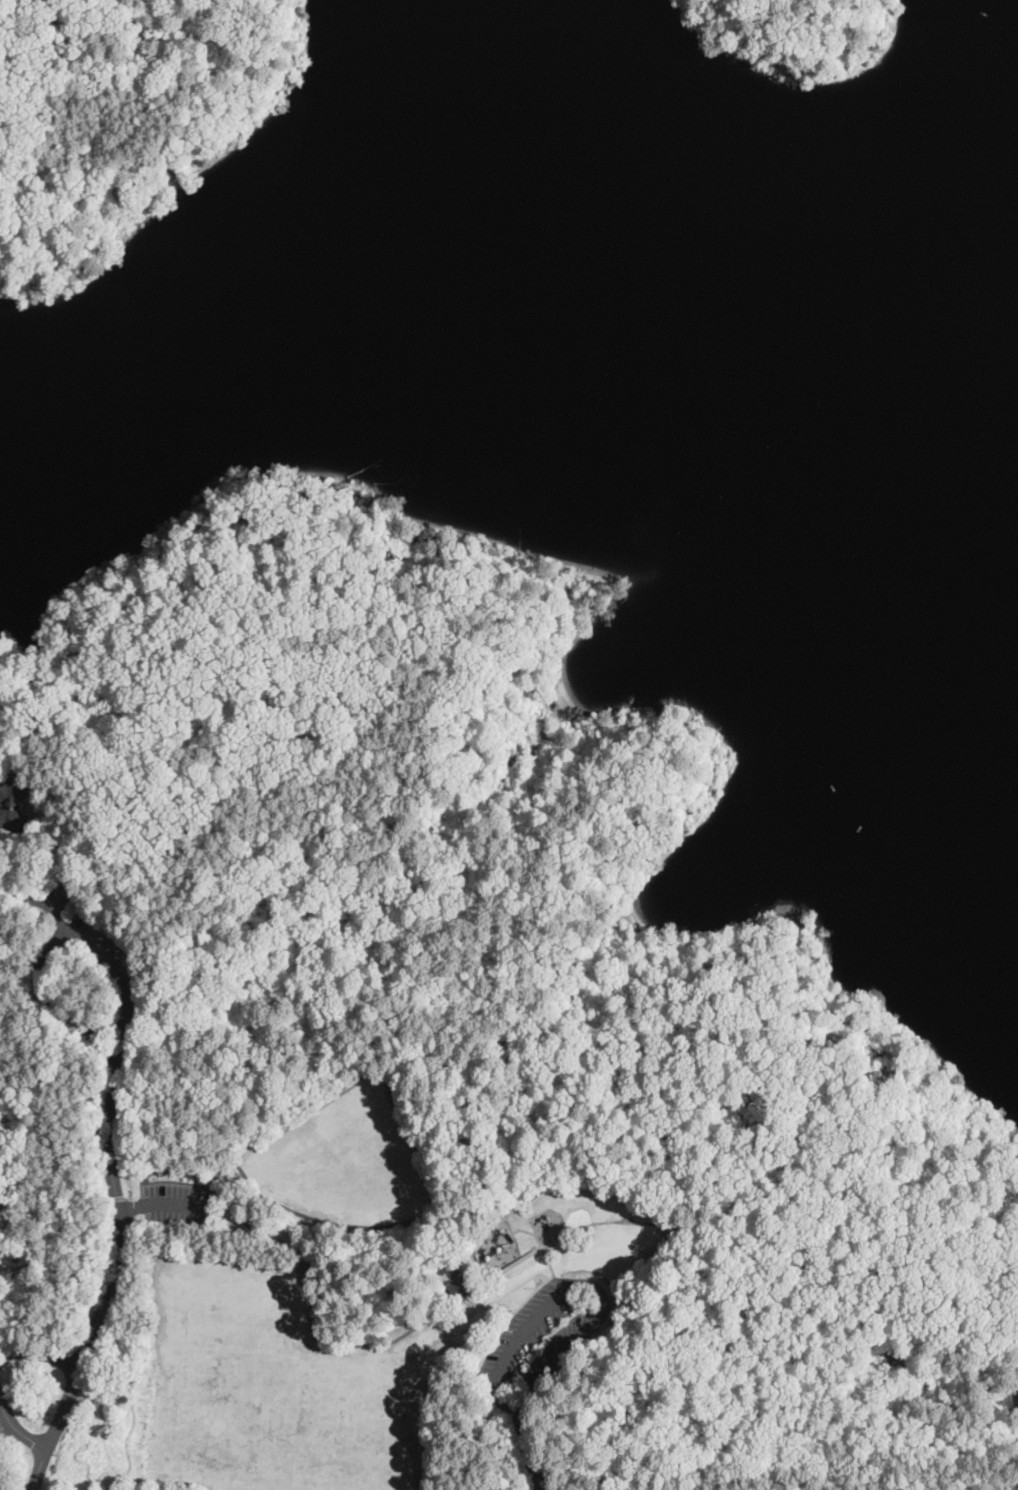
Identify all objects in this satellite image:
road: (75, 20)
road: (487, 621)
building: (20, 801)
road: (202, 870)
road: (36, 898)
road: (13, 910)
parking lot: (82, 926)
parking lot: (92, 937)
road: (583, 977)
road: (106, 1030)
park: (443, 1058)
road: (538, 1074)
park: (345, 1160)
road: (799, 1190)
road: (139, 1195)
road: (165, 1204)
parking lot: (175, 1206)
parking lot: (176, 1207)
road: (672, 1221)
road: (892, 1231)
road: (538, 1232)
road: (550, 1268)
building: (454, 1278)
road: (109, 1282)
road: (582, 1284)
road: (559, 1286)
road: (508, 1294)
parking lot: (541, 1337)
road: (707, 1354)
road: (39, 1357)
road: (17, 1430)
road: (529, 1454)
road: (769, 1464)
road: (544, 1476)

